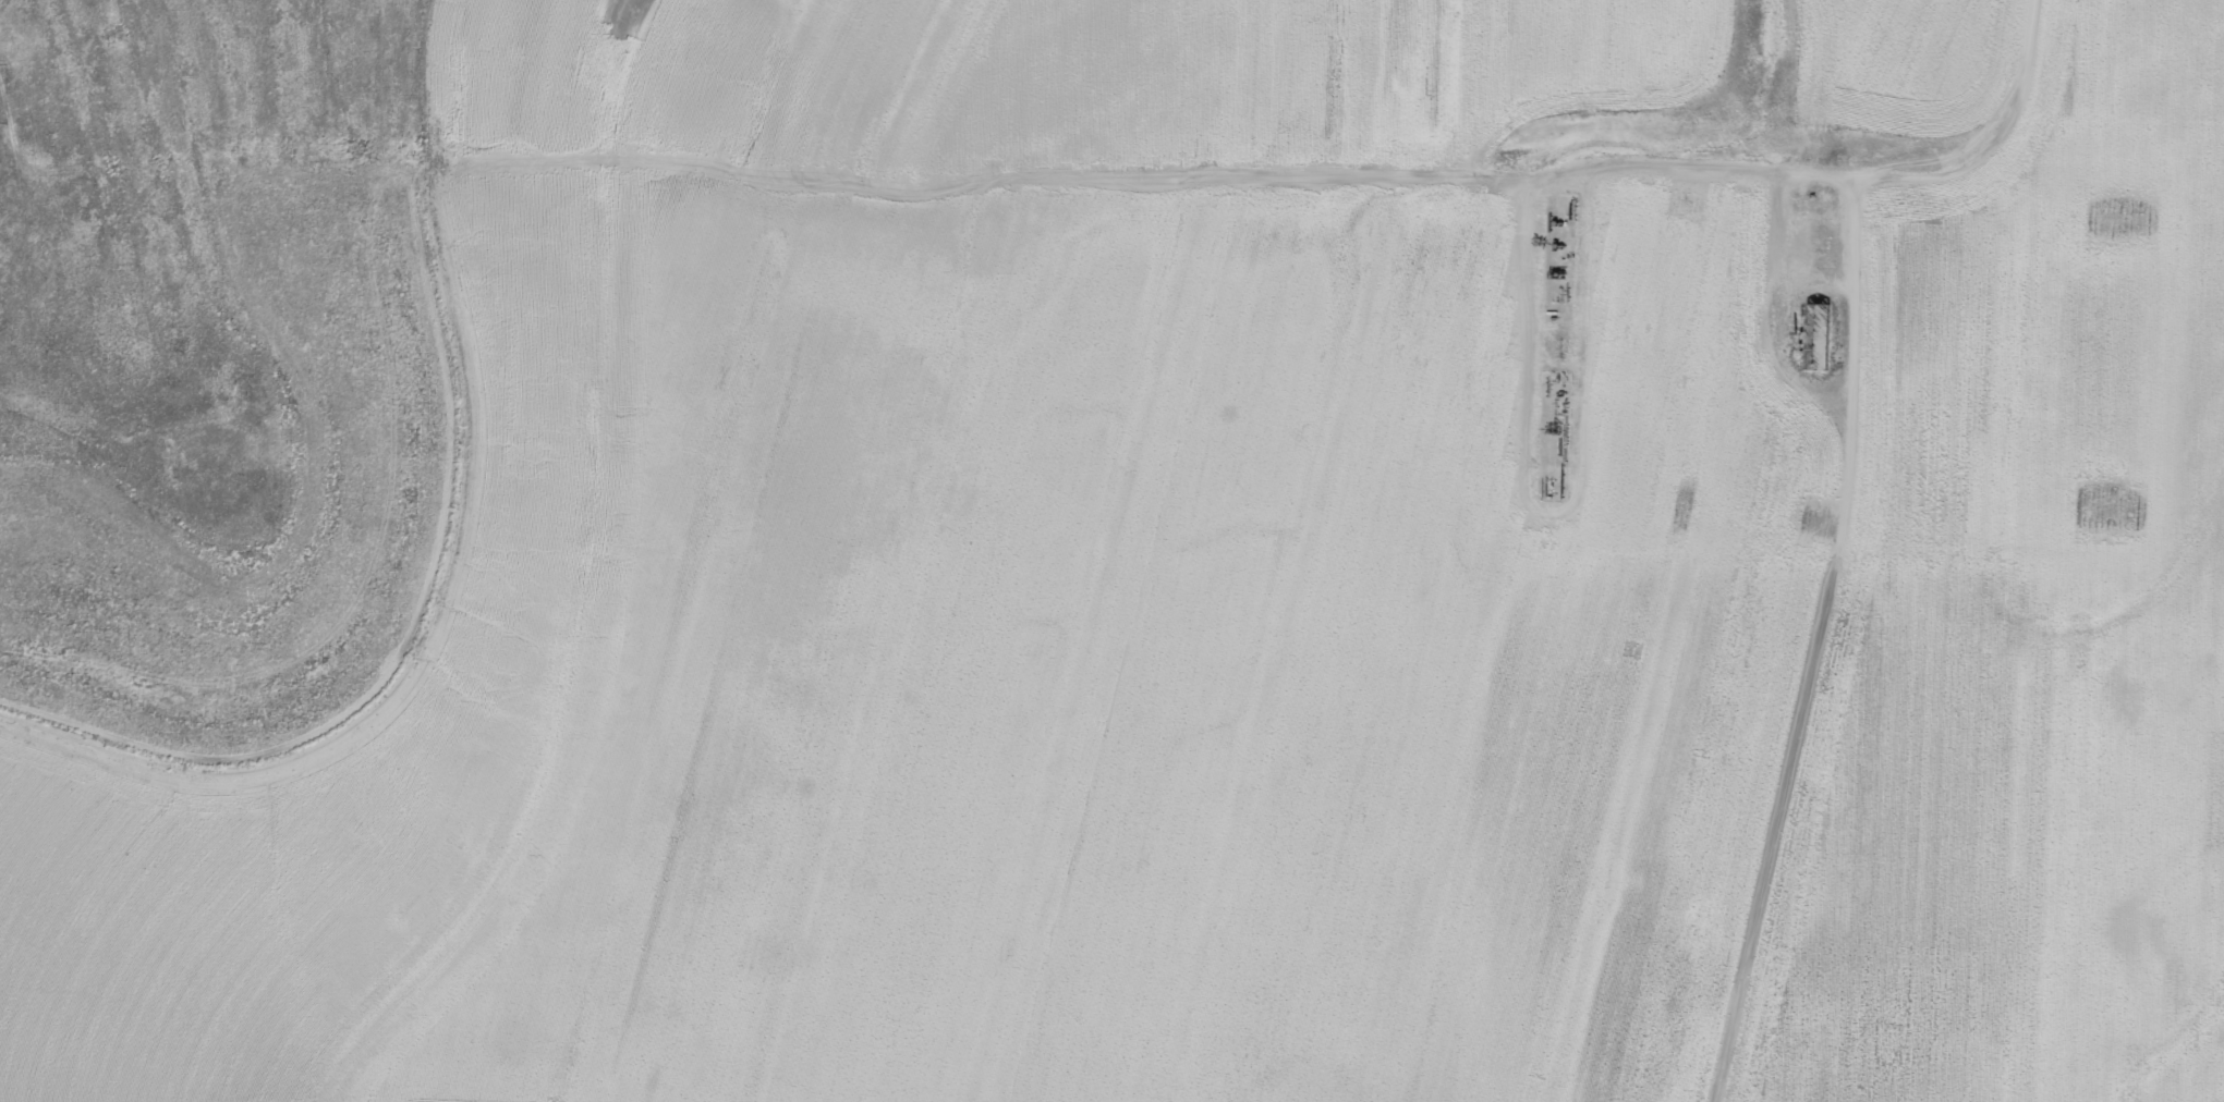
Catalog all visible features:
road: (1711, 175)
building: (1820, 332)
airport: (2066, 669)

